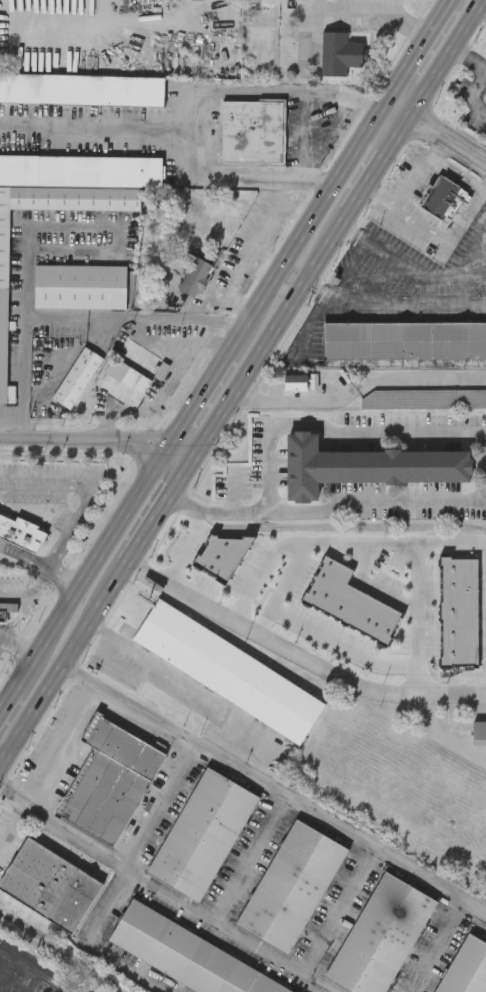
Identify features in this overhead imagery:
road: (482, 6)
road: (372, 9)
road: (420, 50)
building: (337, 52)
road: (444, 56)
building: (81, 87)
road: (469, 87)
building: (484, 96)
road: (194, 106)
road: (97, 127)
building: (252, 130)
road: (437, 133)
road: (440, 149)
road: (375, 168)
building: (81, 169)
road: (459, 174)
road: (411, 183)
road: (485, 188)
road: (281, 189)
road: (376, 197)
building: (444, 198)
road: (316, 217)
road: (444, 239)
road: (122, 241)
road: (279, 242)
road: (253, 250)
road: (262, 270)
road: (417, 273)
building: (195, 276)
building: (79, 285)
road: (467, 289)
building: (3, 306)
road: (392, 308)
road: (137, 323)
road: (25, 331)
road: (270, 337)
building: (404, 340)
building: (128, 374)
building: (75, 376)
building: (302, 383)
road: (358, 385)
road: (207, 389)
building: (423, 398)
road: (339, 430)
road: (99, 437)
building: (364, 464)
road: (87, 492)
road: (378, 500)
road: (162, 505)
road: (217, 511)
building: (20, 532)
road: (346, 546)
road: (185, 549)
road: (25, 558)
road: (98, 561)
road: (260, 570)
road: (65, 580)
road: (374, 587)
road: (16, 590)
road: (26, 603)
building: (1, 608)
road: (421, 621)
road: (2, 637)
road: (343, 645)
road: (21, 649)
road: (299, 655)
road: (63, 664)
building: (228, 671)
road: (189, 683)
road: (13, 699)
building: (478, 732)
road: (445, 735)
road: (59, 741)
building: (109, 780)
road: (275, 789)
road: (162, 806)
road: (12, 821)
building: (202, 835)
road: (250, 858)
building: (48, 885)
building: (291, 887)
road: (166, 892)
road: (339, 910)
building: (380, 936)
road: (88, 943)
road: (434, 946)
building: (184, 954)
building: (466, 968)
road: (35, 970)

